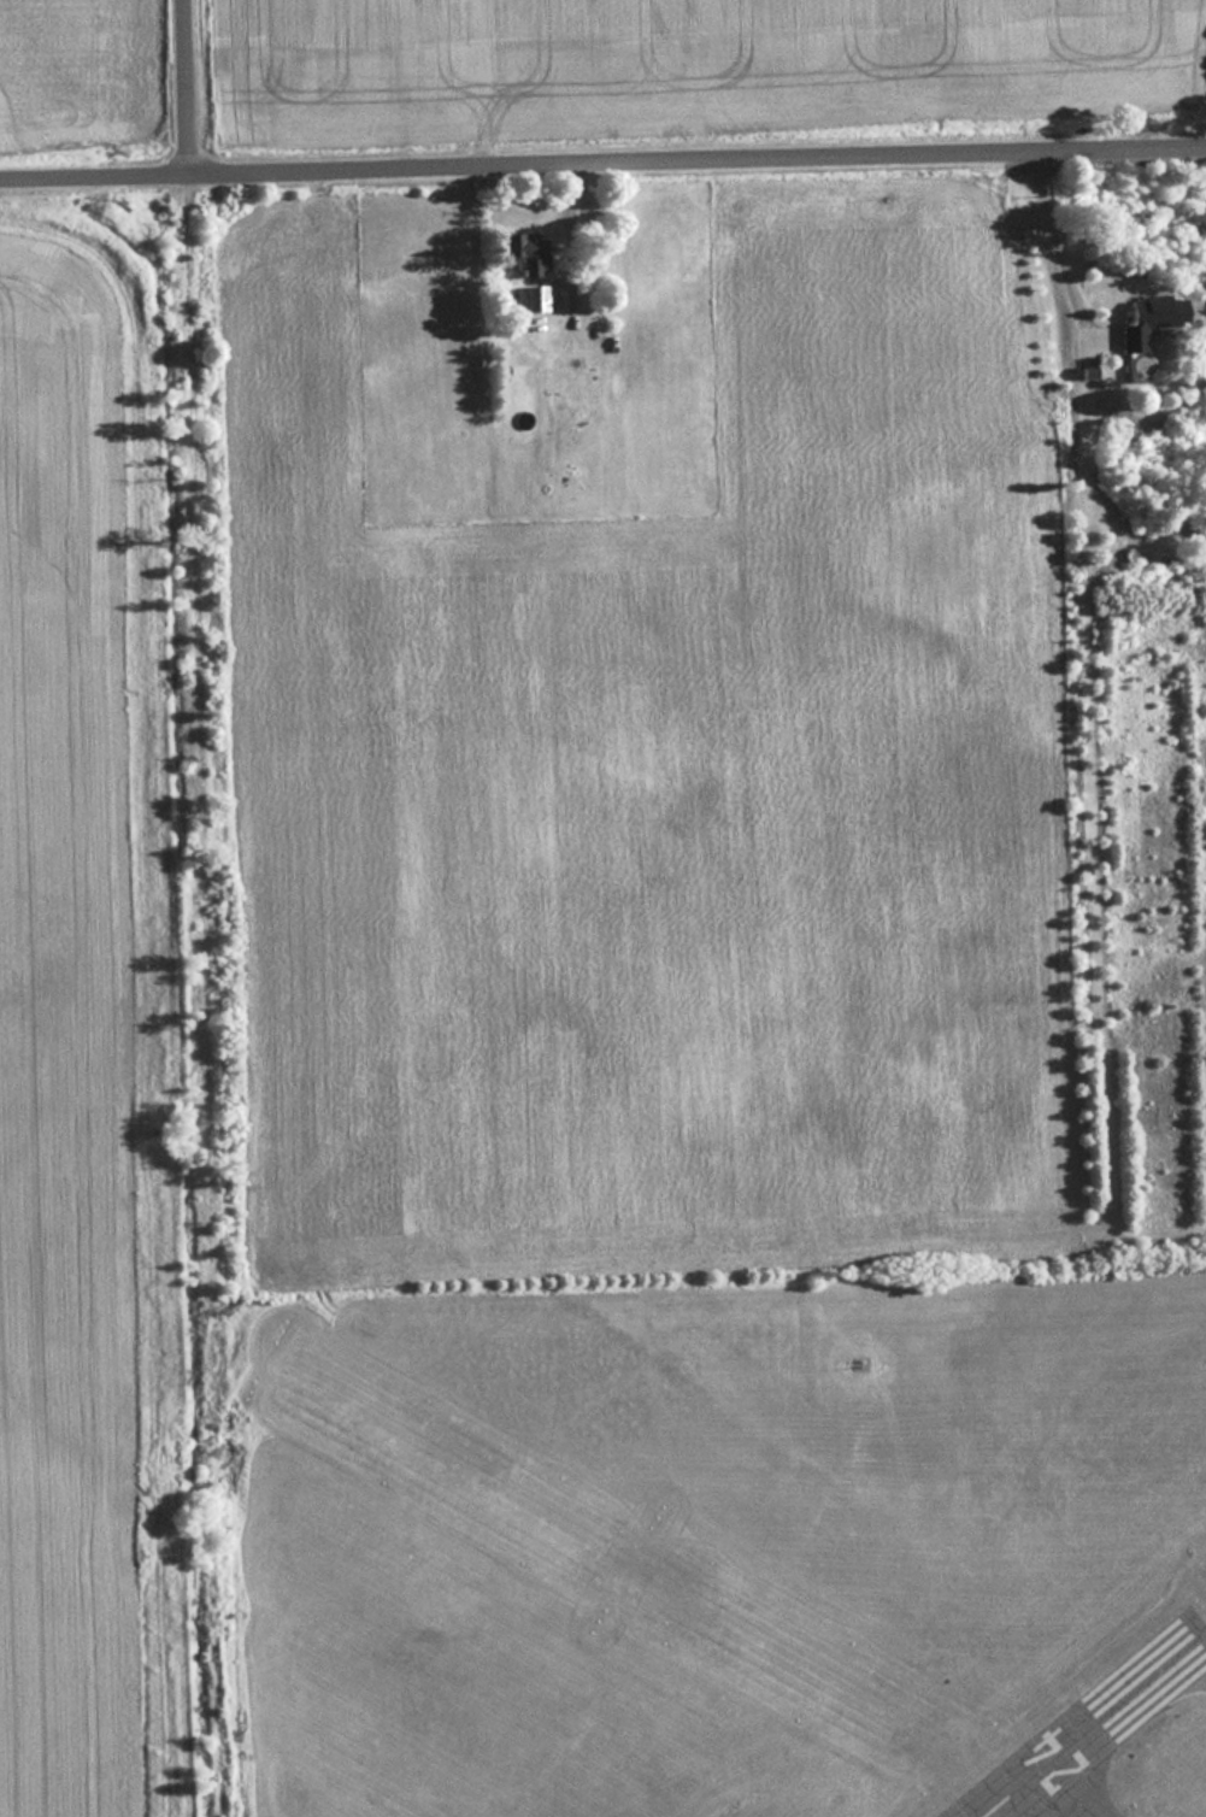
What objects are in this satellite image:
road: (183, 86)
road: (602, 163)
road: (184, 223)
road: (1063, 246)
building: (519, 251)
building: (531, 296)
building: (1142, 317)
airport taxiway: (1198, 1643)
airport runway: (1087, 1719)

